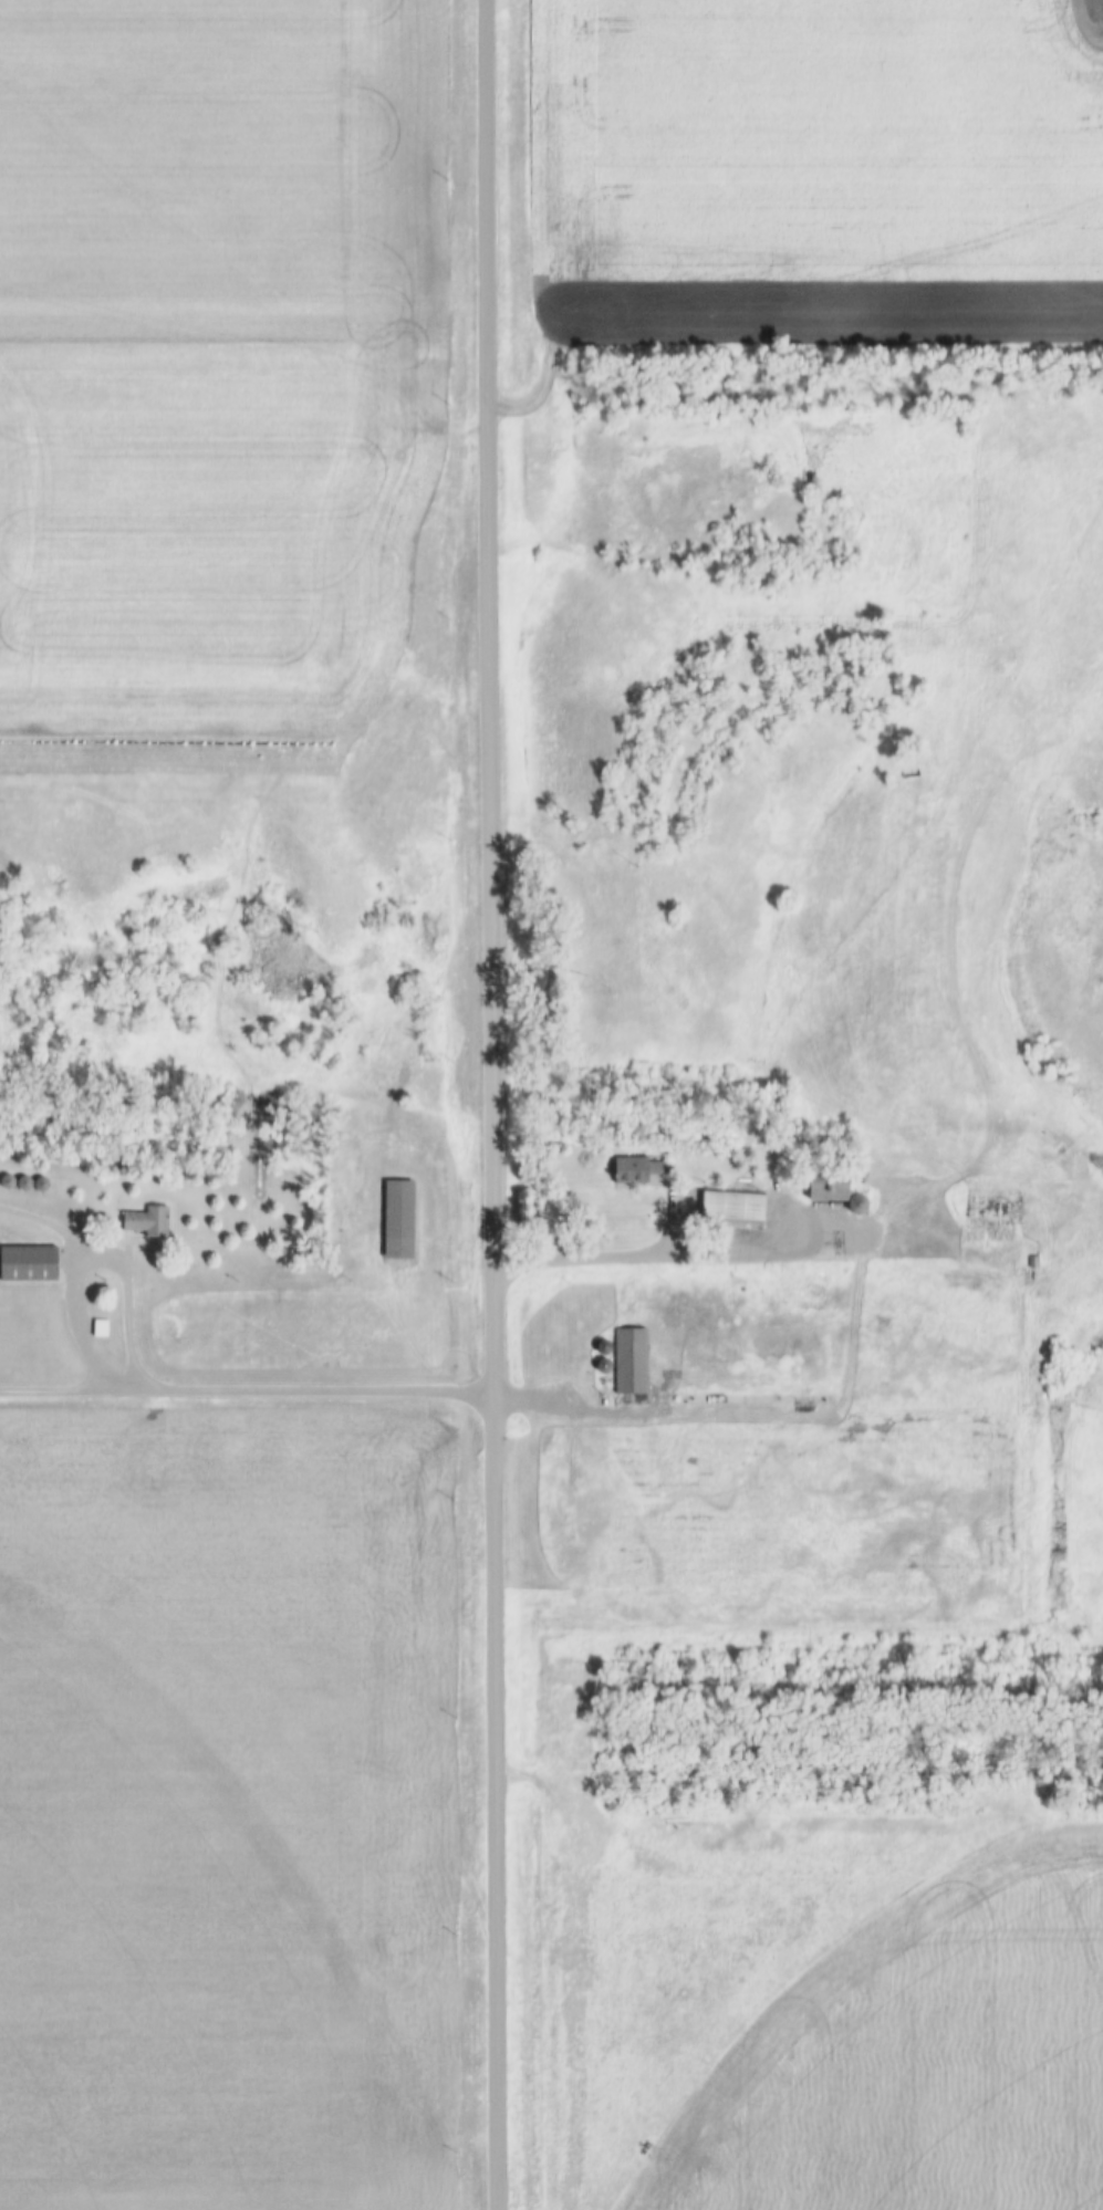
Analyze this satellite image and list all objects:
road: (493, 1104)
building: (634, 1170)
building: (829, 1190)
building: (984, 1206)
building: (728, 1208)
building: (397, 1221)
building: (148, 1222)
road: (722, 1254)
building: (31, 1264)
road: (114, 1264)
building: (629, 1361)
road: (247, 1389)

